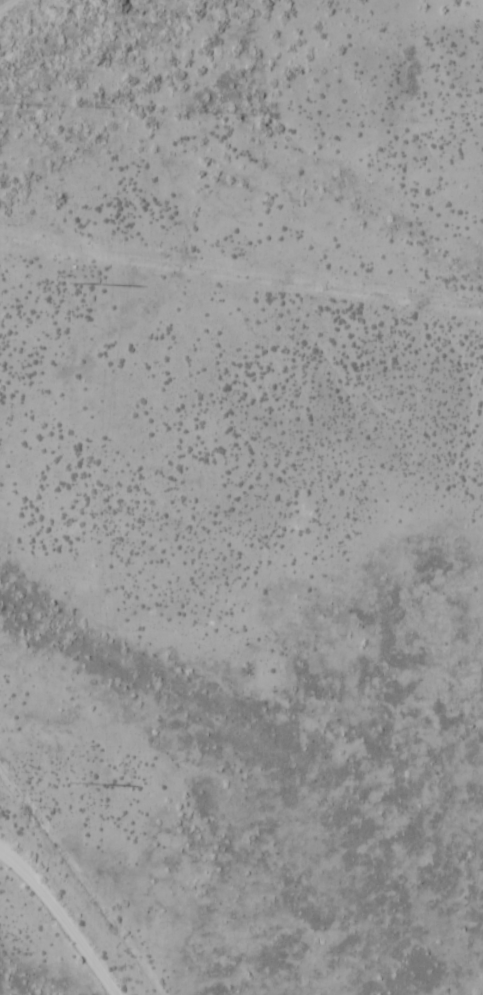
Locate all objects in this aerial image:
road: (5, 3)
power tower: (74, 285)
power tower: (72, 785)
road: (60, 921)

